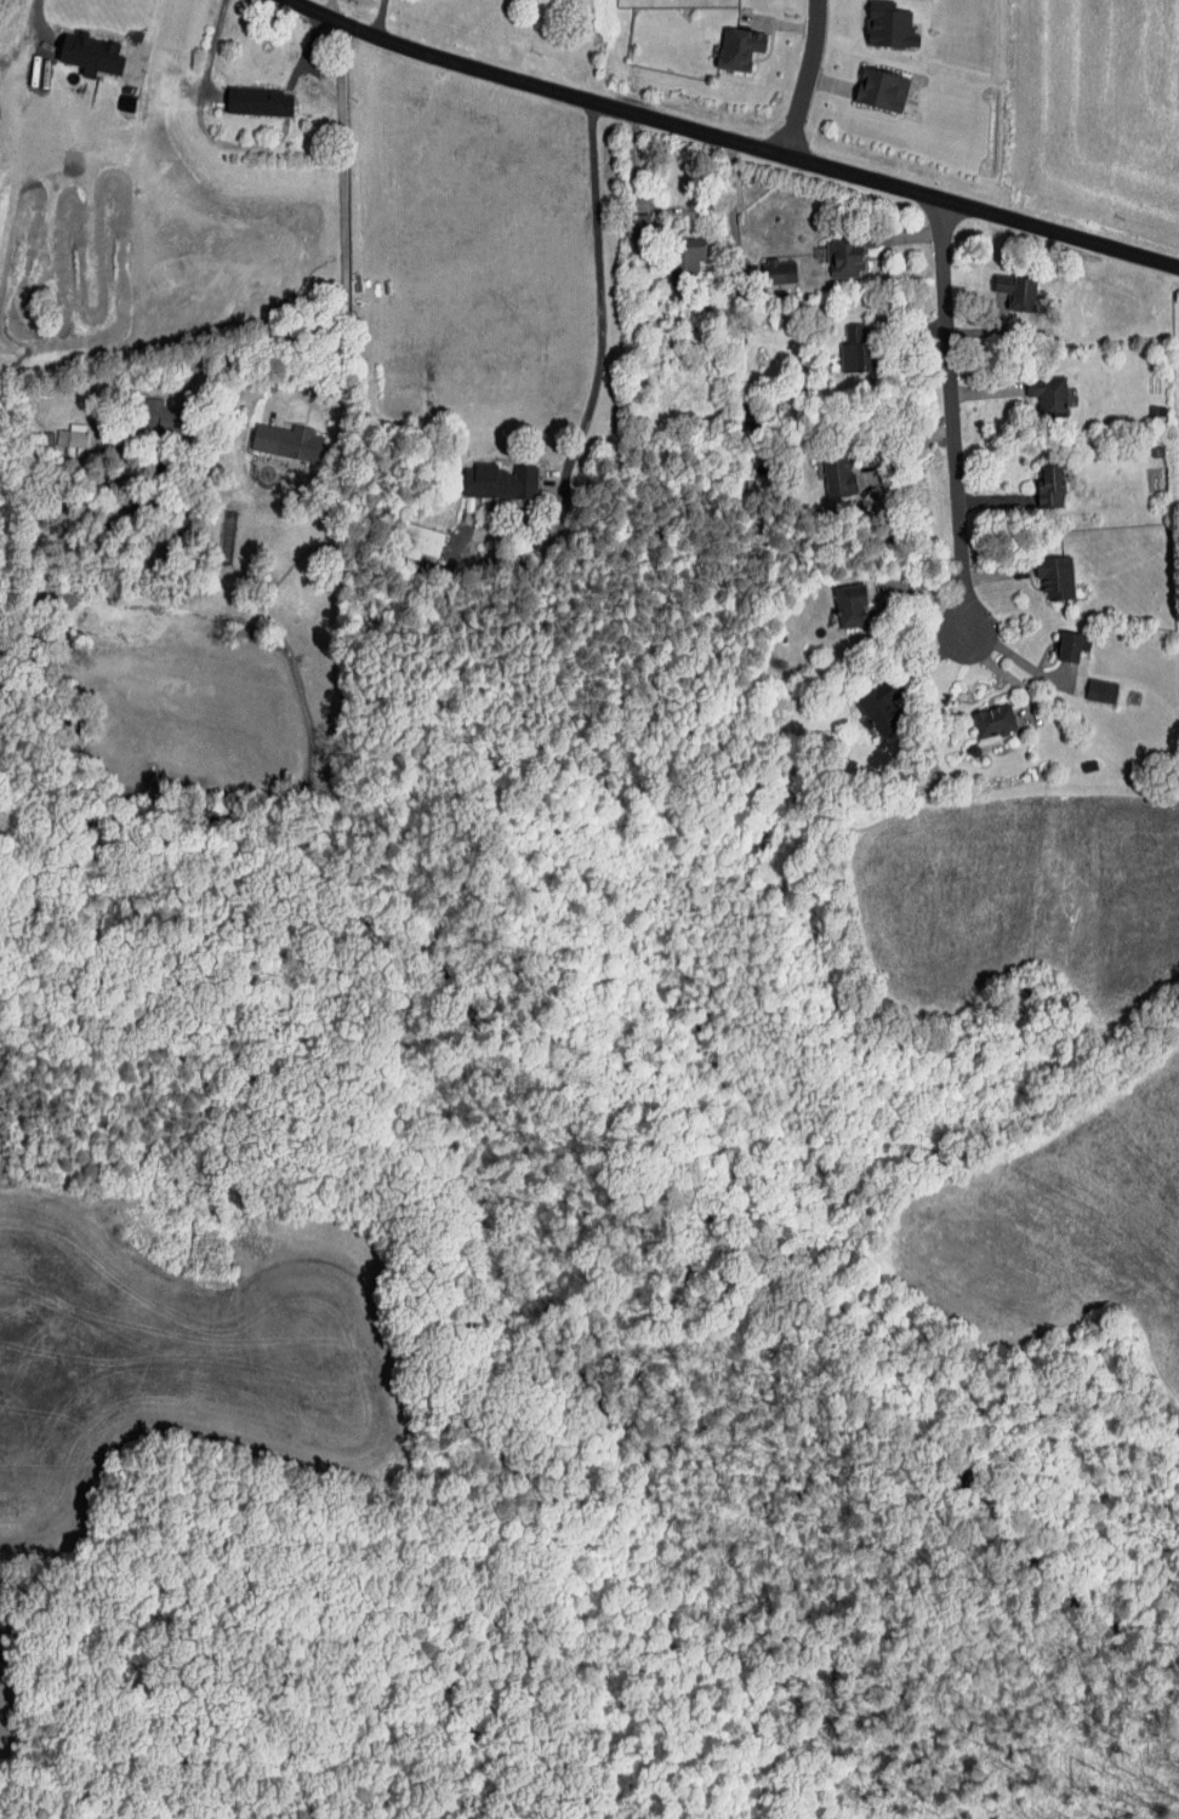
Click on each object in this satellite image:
road: (332, 8)
road: (376, 17)
road: (34, 23)
road: (148, 28)
building: (890, 28)
building: (739, 47)
road: (275, 50)
building: (90, 53)
road: (804, 79)
building: (881, 90)
building: (173, 92)
building: (257, 101)
road: (731, 141)
road: (733, 211)
building: (637, 224)
road: (353, 230)
road: (912, 235)
building: (847, 255)
building: (685, 258)
building: (779, 272)
building: (1019, 292)
road: (599, 313)
road: (906, 330)
road: (986, 331)
building: (855, 349)
road: (340, 353)
road: (986, 392)
building: (1048, 395)
building: (155, 417)
building: (72, 438)
building: (287, 441)
road: (910, 450)
road: (956, 475)
building: (843, 478)
building: (499, 481)
building: (1050, 486)
road: (998, 503)
building: (422, 541)
road: (999, 574)
building: (1055, 577)
road: (917, 583)
building: (850, 606)
building: (1070, 646)
road: (1016, 656)
road: (923, 675)
building: (1101, 691)
building: (878, 709)
building: (993, 722)

